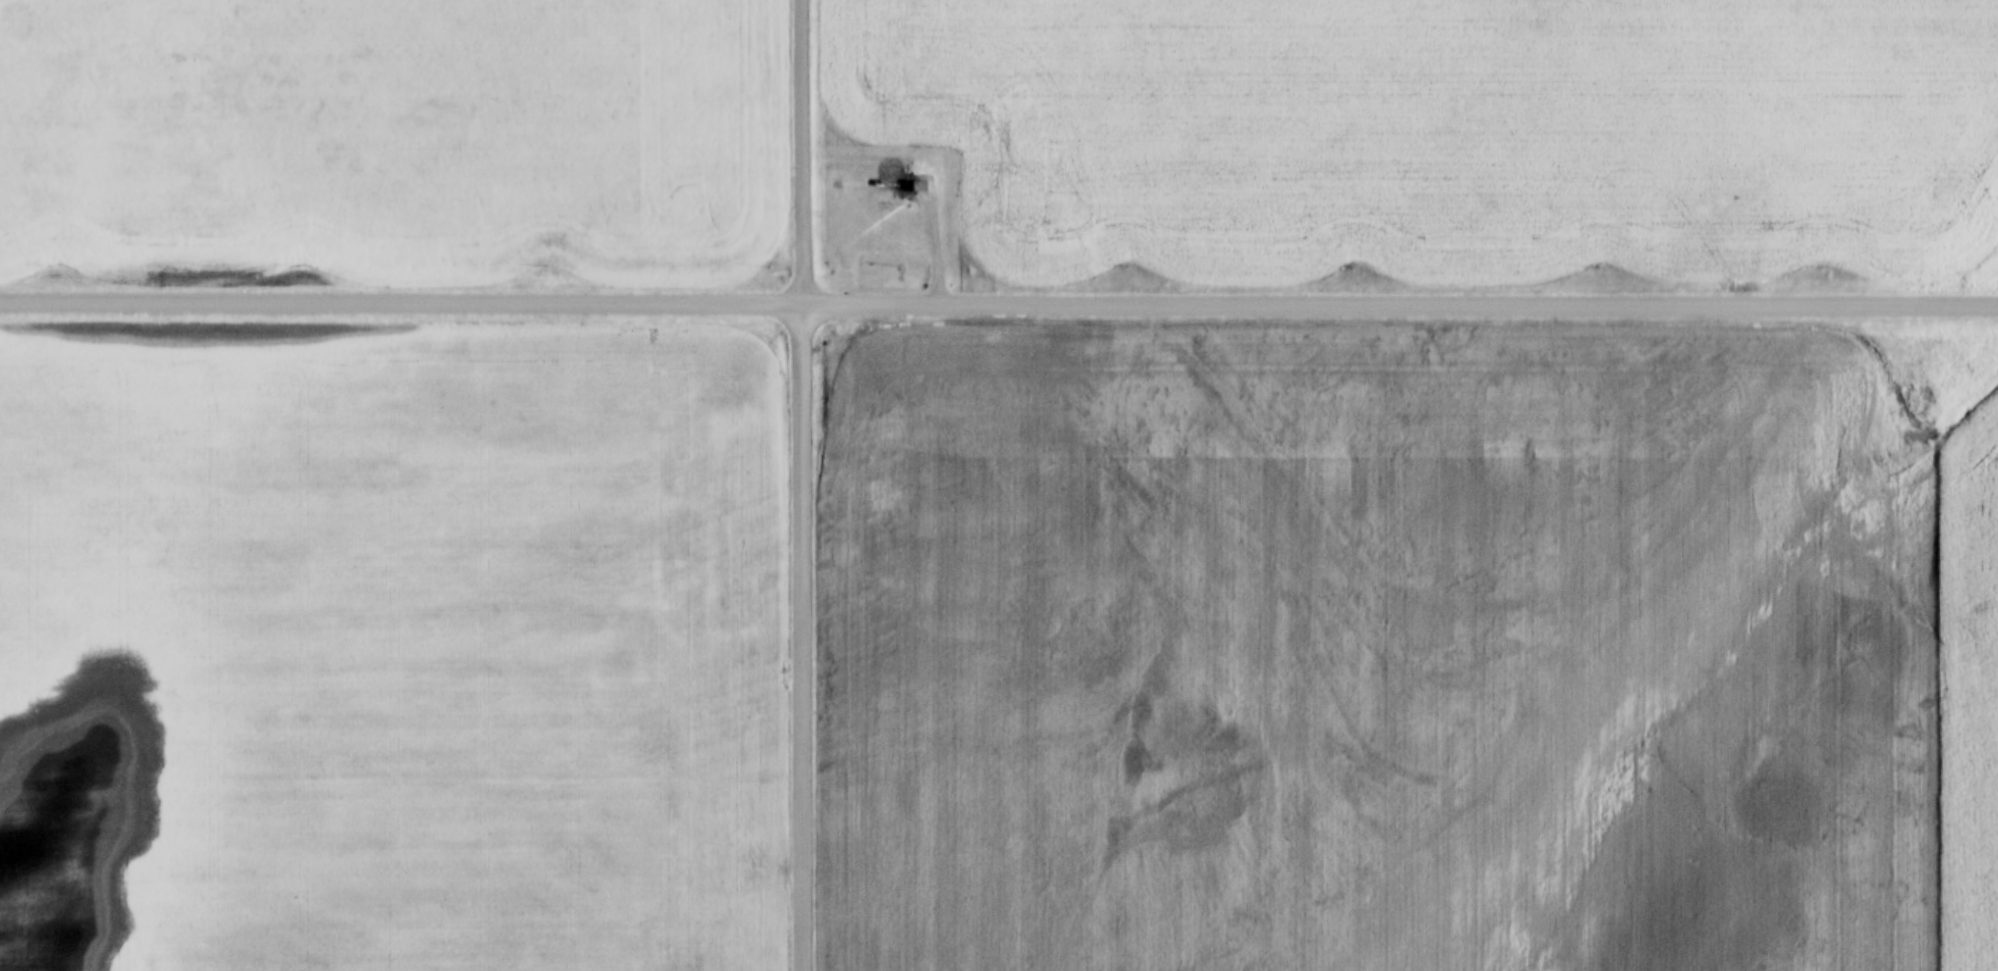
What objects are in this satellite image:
road: (799, 152)
building: (920, 187)
road: (936, 240)
road: (998, 305)
road: (799, 637)

